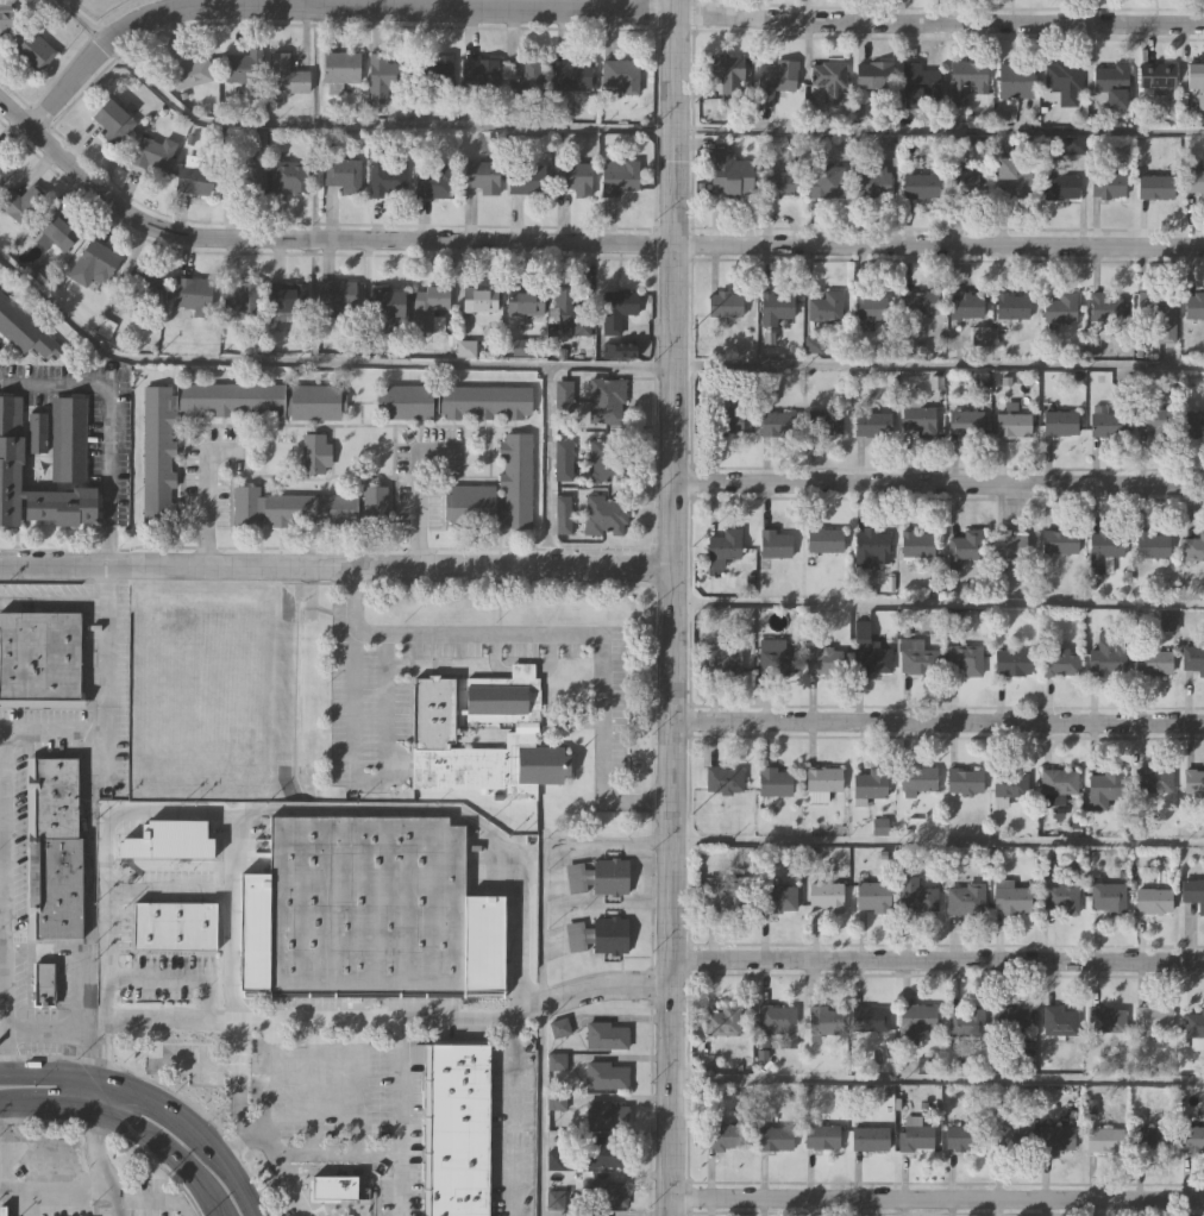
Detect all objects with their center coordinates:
road: (299, 1)
road: (328, 4)
park: (104, 8)
building: (6, 15)
road: (927, 24)
building: (35, 51)
building: (242, 68)
building: (338, 68)
building: (186, 71)
building: (437, 71)
building: (729, 74)
building: (477, 75)
building: (872, 75)
building: (284, 76)
building: (570, 76)
building: (619, 76)
building: (1158, 76)
building: (381, 77)
building: (773, 79)
building: (827, 79)
building: (920, 79)
building: (1065, 79)
building: (965, 80)
building: (1017, 80)
building: (1197, 81)
building: (1115, 82)
building: (526, 84)
road: (38, 118)
building: (108, 123)
road: (607, 130)
building: (1077, 142)
building: (150, 155)
building: (5, 170)
building: (732, 171)
building: (340, 175)
building: (1011, 176)
building: (193, 177)
building: (477, 177)
building: (287, 178)
building: (571, 178)
building: (619, 178)
building: (965, 178)
building: (242, 180)
building: (385, 180)
building: (871, 180)
building: (1194, 180)
building: (523, 181)
building: (780, 182)
building: (1109, 182)
building: (432, 184)
building: (828, 184)
building: (918, 184)
building: (1062, 184)
building: (1158, 184)
building: (23, 205)
building: (54, 234)
road: (578, 240)
building: (94, 267)
building: (145, 283)
building: (192, 295)
building: (334, 296)
building: (286, 297)
building: (477, 302)
building: (726, 302)
building: (921, 302)
building: (242, 303)
building: (521, 303)
building: (1105, 303)
building: (1194, 303)
building: (1062, 305)
building: (824, 306)
building: (965, 306)
building: (384, 307)
building: (426, 307)
building: (775, 307)
building: (868, 307)
building: (1010, 307)
building: (569, 314)
building: (1160, 315)
building: (615, 322)
building: (25, 331)
road: (583, 364)
building: (764, 394)
building: (563, 397)
building: (608, 401)
building: (454, 402)
building: (920, 414)
road: (108, 420)
building: (727, 420)
building: (827, 420)
building: (967, 420)
building: (1155, 420)
building: (1061, 421)
building: (780, 422)
building: (874, 422)
building: (1194, 422)
building: (1014, 424)
building: (1110, 424)
building: (11, 427)
building: (38, 432)
building: (67, 435)
building: (159, 450)
building: (315, 455)
building: (563, 458)
building: (609, 458)
road: (548, 465)
building: (518, 478)
road: (938, 484)
road: (205, 491)
building: (313, 506)
building: (472, 506)
road: (416, 512)
building: (563, 512)
building: (606, 515)
building: (824, 538)
building: (727, 541)
building: (776, 541)
building: (917, 541)
building: (1061, 541)
building: (966, 545)
building: (1010, 545)
building: (1152, 545)
building: (1193, 547)
building: (870, 551)
building: (1105, 551)
road: (336, 565)
road: (938, 604)
road: (671, 607)
road: (366, 634)
road: (412, 634)
building: (824, 656)
building: (1109, 656)
building: (727, 657)
building: (778, 657)
building: (966, 657)
building: (42, 658)
building: (873, 658)
building: (1193, 658)
building: (920, 660)
building: (1014, 660)
building: (1062, 660)
building: (1154, 660)
road: (936, 723)
building: (434, 726)
road: (51, 733)
building: (918, 777)
building: (723, 779)
building: (965, 781)
building: (1152, 781)
building: (773, 782)
building: (821, 782)
building: (1193, 782)
building: (868, 784)
building: (1009, 785)
building: (1056, 785)
building: (1103, 789)
road: (90, 798)
road: (126, 804)
road: (419, 804)
road: (685, 841)
building: (54, 848)
building: (598, 877)
building: (729, 890)
building: (1193, 891)
building: (1060, 892)
building: (829, 894)
building: (876, 894)
building: (779, 896)
building: (917, 896)
building: (1109, 896)
building: (968, 897)
building: (1011, 897)
building: (1154, 898)
road: (6, 902)
building: (368, 907)
building: (176, 924)
building: (597, 935)
road: (107, 942)
road: (234, 958)
road: (936, 960)
building: (43, 983)
road: (108, 997)
building: (870, 1017)
building: (826, 1018)
building: (1152, 1018)
building: (1011, 1020)
building: (1105, 1020)
road: (334, 1021)
building: (723, 1021)
building: (1059, 1021)
building: (778, 1022)
building: (914, 1022)
building: (967, 1022)
building: (558, 1029)
building: (1194, 1029)
building: (606, 1036)
road: (89, 1054)
building: (604, 1077)
road: (936, 1080)
road: (237, 1091)
road: (92, 1092)
road: (155, 1099)
road: (514, 1116)
building: (606, 1116)
road: (399, 1118)
road: (127, 1126)
building: (458, 1129)
building: (916, 1134)
building: (722, 1135)
building: (870, 1135)
building: (822, 1136)
building: (964, 1136)
building: (776, 1137)
building: (1059, 1137)
building: (1011, 1139)
building: (1152, 1139)
building: (1192, 1139)
building: (1106, 1140)
road: (316, 1152)
road: (96, 1153)
building: (603, 1153)
road: (287, 1183)
building: (333, 1189)
road: (49, 1193)
building: (603, 1193)
road: (114, 1197)
road: (936, 1199)
building: (2, 1209)
building: (594, 1215)

